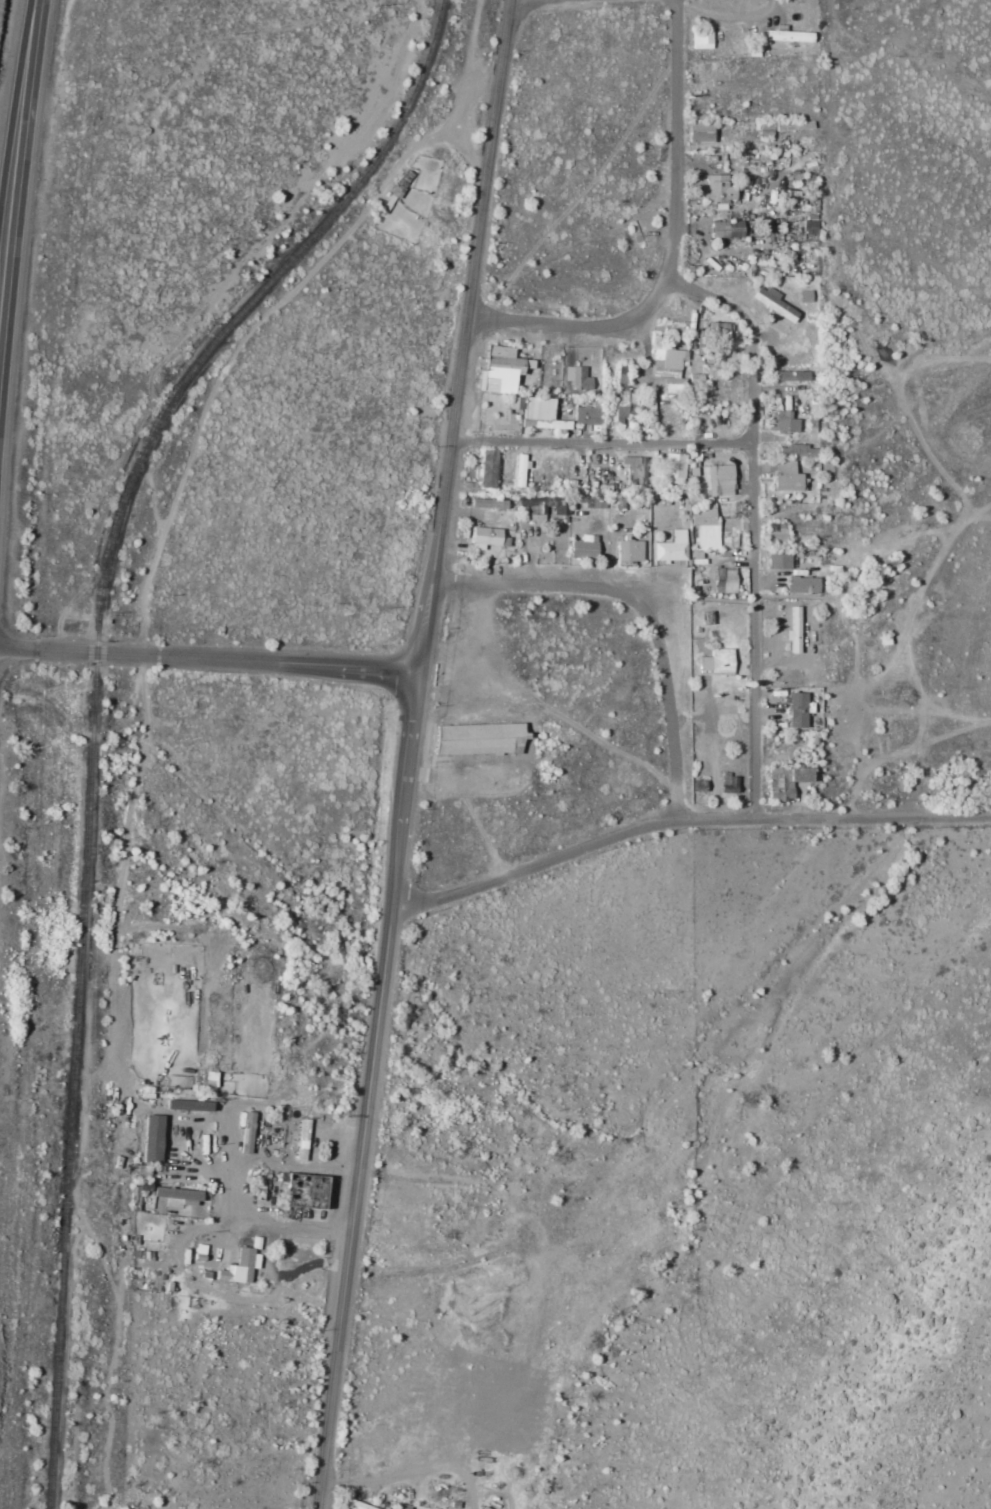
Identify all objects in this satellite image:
road: (532, 1)
building: (786, 35)
building: (701, 38)
building: (793, 126)
building: (765, 131)
building: (698, 132)
road: (17, 153)
building: (717, 190)
building: (725, 229)
road: (676, 250)
road: (699, 295)
building: (804, 296)
building: (772, 303)
building: (718, 331)
building: (501, 369)
building: (669, 369)
building: (622, 375)
building: (790, 376)
building: (578, 378)
building: (514, 403)
building: (618, 407)
building: (542, 414)
building: (586, 416)
building: (782, 421)
road: (609, 448)
building: (796, 451)
building: (488, 468)
building: (674, 468)
building: (519, 469)
building: (633, 470)
building: (785, 476)
building: (720, 479)
road: (758, 486)
building: (603, 488)
building: (598, 502)
building: (487, 504)
building: (536, 511)
building: (560, 512)
building: (705, 527)
building: (483, 537)
building: (775, 539)
building: (583, 547)
building: (671, 548)
building: (628, 551)
building: (779, 561)
building: (724, 580)
building: (802, 585)
road: (647, 621)
building: (793, 630)
road: (211, 657)
building: (716, 661)
railway: (95, 702)
building: (797, 709)
building: (477, 739)
road: (757, 752)
road: (413, 753)
road: (686, 832)
building: (210, 1079)
building: (188, 1105)
building: (248, 1132)
building: (151, 1138)
building: (301, 1140)
building: (176, 1194)
road: (252, 1234)
building: (239, 1267)
building: (351, 1504)

